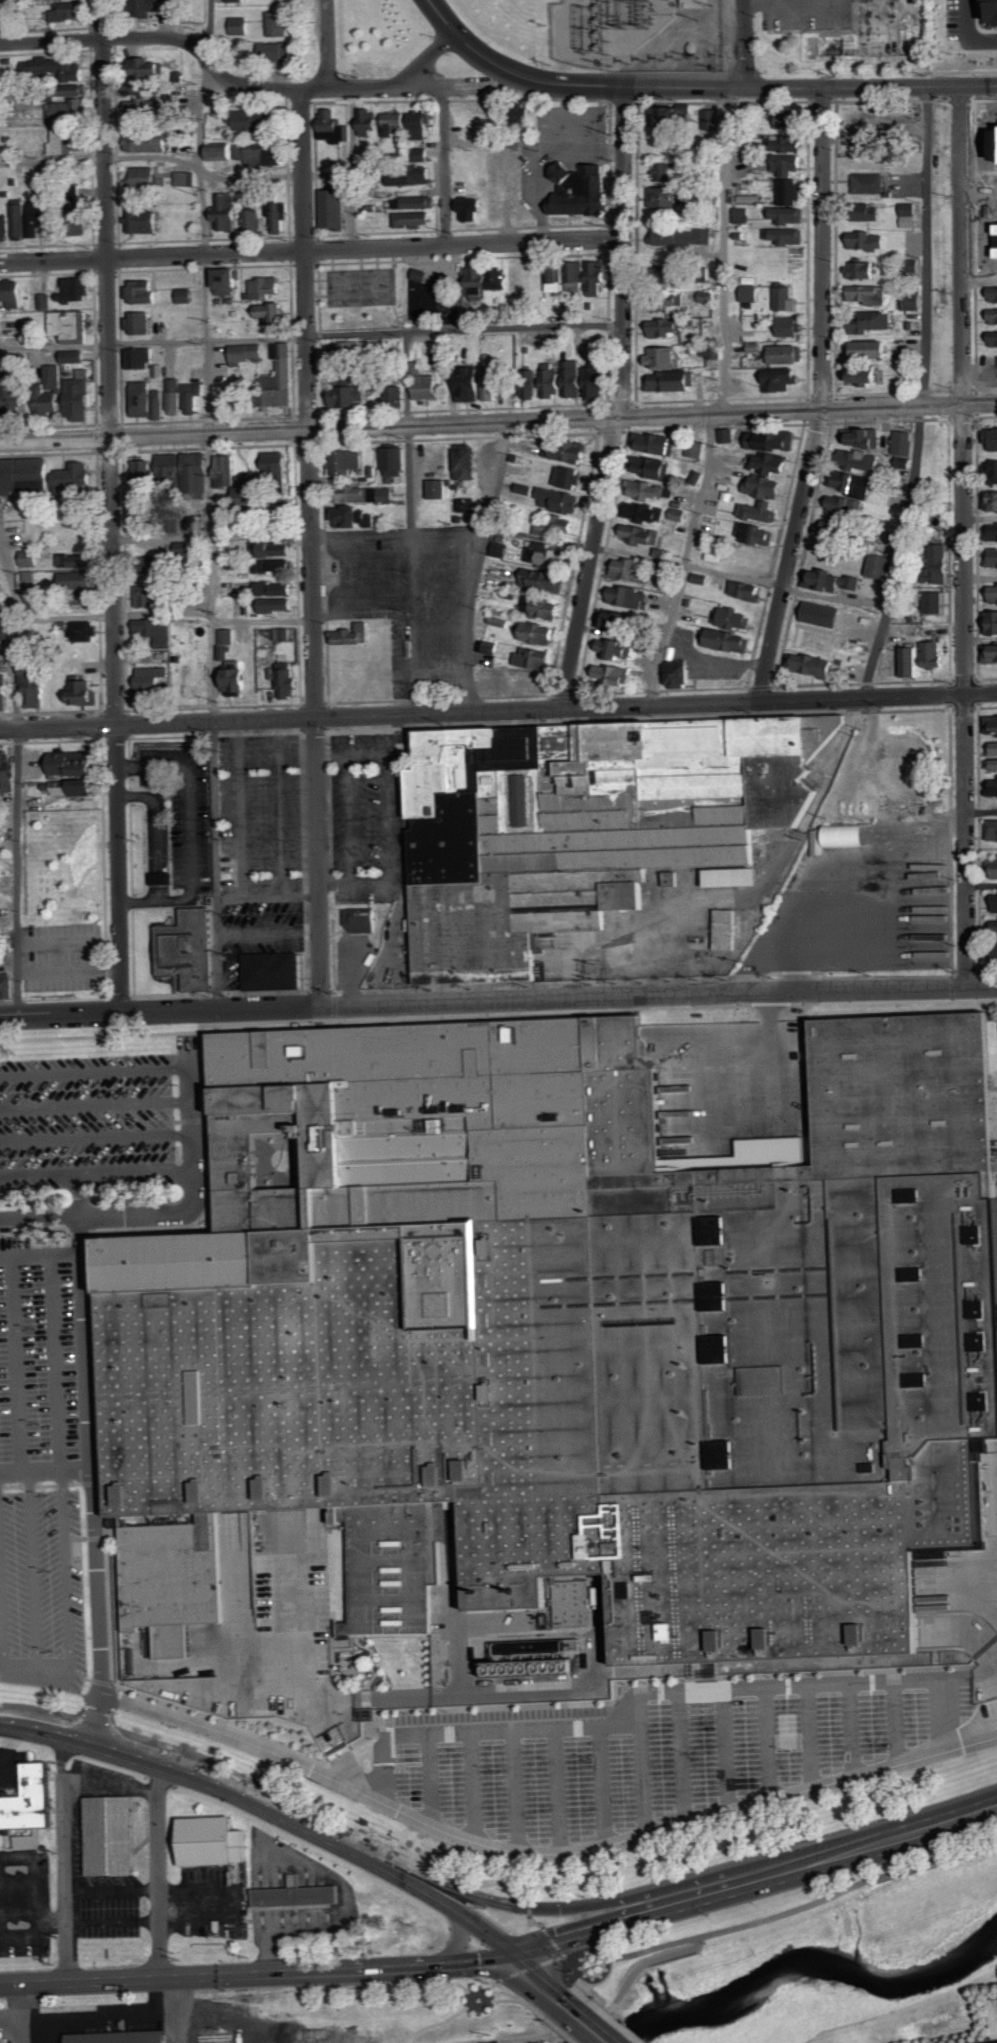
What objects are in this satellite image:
building: (236, 0)
building: (698, 3)
building: (153, 6)
building: (70, 11)
building: (988, 11)
building: (279, 23)
building: (240, 26)
building: (863, 32)
road: (969, 32)
power substation: (640, 34)
road: (467, 43)
road: (746, 44)
road: (328, 45)
building: (276, 51)
road: (430, 57)
building: (57, 68)
building: (150, 68)
road: (218, 71)
road: (471, 86)
road: (755, 88)
building: (72, 93)
building: (146, 101)
building: (66, 111)
building: (667, 115)
building: (254, 119)
building: (711, 119)
building: (790, 119)
building: (739, 121)
building: (370, 123)
building: (409, 123)
building: (336, 126)
building: (62, 141)
building: (151, 141)
building: (793, 143)
building: (222, 153)
building: (263, 154)
building: (422, 155)
road: (179, 160)
building: (790, 164)
road: (445, 165)
road: (352, 169)
building: (666, 171)
building: (413, 175)
building: (144, 177)
building: (183, 179)
building: (870, 183)
building: (582, 190)
building: (791, 191)
building: (668, 198)
building: (416, 202)
building: (335, 205)
building: (473, 208)
building: (228, 211)
building: (872, 212)
building: (81, 215)
building: (790, 215)
building: (910, 215)
building: (279, 216)
building: (416, 217)
building: (255, 219)
building: (34, 220)
building: (144, 220)
building: (6, 228)
building: (788, 235)
building: (682, 236)
building: (867, 240)
road: (927, 247)
road: (312, 251)
building: (864, 269)
building: (418, 273)
building: (577, 276)
building: (598, 277)
building: (557, 278)
building: (488, 280)
road: (980, 280)
building: (230, 281)
park: (359, 285)
building: (267, 287)
building: (77, 289)
park: (387, 291)
building: (15, 292)
building: (144, 292)
building: (994, 293)
building: (869, 294)
building: (187, 295)
building: (709, 295)
building: (787, 299)
building: (914, 300)
building: (45, 301)
building: (658, 303)
building: (273, 312)
building: (994, 316)
building: (871, 321)
building: (140, 323)
building: (72, 326)
building: (665, 327)
building: (792, 327)
road: (311, 335)
building: (993, 338)
building: (873, 349)
building: (348, 350)
building: (248, 353)
building: (786, 354)
building: (76, 356)
building: (666, 357)
building: (141, 358)
building: (867, 375)
building: (284, 378)
building: (344, 379)
building: (576, 380)
building: (783, 380)
building: (673, 381)
building: (482, 382)
building: (426, 383)
building: (530, 389)
building: (53, 392)
building: (399, 394)
building: (17, 396)
building: (186, 397)
building: (350, 397)
road: (822, 398)
building: (81, 399)
road: (622, 400)
building: (149, 401)
road: (720, 401)
road: (498, 423)
building: (726, 436)
building: (862, 437)
building: (993, 437)
building: (771, 440)
building: (656, 443)
building: (905, 443)
building: (568, 450)
building: (696, 450)
building: (862, 460)
building: (348, 462)
building: (397, 462)
building: (770, 463)
building: (467, 464)
building: (277, 466)
building: (657, 468)
building: (188, 469)
building: (228, 471)
building: (25, 475)
building: (569, 477)
building: (77, 478)
building: (143, 478)
building: (854, 484)
building: (765, 487)
building: (439, 489)
building: (654, 490)
building: (362, 494)
building: (387, 495)
building: (994, 499)
building: (560, 500)
road: (210, 503)
building: (469, 504)
road: (112, 505)
building: (843, 505)
building: (760, 511)
building: (644, 512)
building: (678, 515)
road: (980, 516)
building: (354, 518)
building: (143, 522)
building: (198, 523)
road: (408, 523)
building: (560, 526)
road: (504, 529)
building: (836, 529)
building: (995, 532)
building: (643, 534)
building: (757, 534)
road: (964, 537)
road: (311, 548)
building: (502, 549)
road: (900, 554)
building: (275, 555)
building: (551, 557)
building: (29, 558)
building: (993, 558)
building: (175, 559)
building: (77, 561)
building: (881, 566)
road: (477, 567)
building: (941, 567)
building: (633, 569)
road: (981, 577)
building: (545, 580)
building: (79, 581)
building: (833, 581)
building: (277, 588)
building: (746, 590)
building: (994, 593)
building: (156, 594)
building: (627, 596)
building: (935, 603)
building: (279, 605)
building: (545, 607)
road: (157, 613)
building: (825, 614)
building: (734, 618)
building: (618, 621)
building: (993, 623)
building: (85, 631)
road: (922, 631)
building: (157, 632)
building: (538, 633)
building: (353, 635)
building: (729, 640)
building: (227, 643)
building: (616, 649)
building: (991, 652)
building: (933, 655)
building: (536, 658)
building: (910, 662)
building: (813, 665)
building: (680, 673)
building: (614, 674)
building: (242, 680)
building: (528, 680)
building: (153, 682)
building: (289, 684)
building: (36, 688)
building: (5, 692)
building: (89, 693)
road: (498, 712)
building: (994, 726)
building: (993, 749)
building: (73, 764)
building: (993, 764)
building: (10, 771)
road: (16, 782)
building: (77, 787)
building: (992, 787)
road: (190, 801)
parking lot: (367, 803)
parking lot: (183, 808)
road: (280, 809)
road: (240, 810)
road: (981, 811)
parking lot: (260, 814)
road: (349, 819)
road: (389, 819)
building: (583, 824)
building: (993, 830)
road: (158, 831)
building: (839, 837)
road: (7, 846)
building: (994, 869)
building: (160, 879)
road: (981, 883)
road: (744, 893)
road: (219, 899)
building: (994, 903)
parking lot: (868, 906)
building: (359, 920)
building: (726, 929)
road: (268, 933)
road: (59, 941)
building: (187, 948)
parking lot: (61, 955)
parking lot: (351, 961)
road: (68, 967)
building: (270, 970)
road: (353, 971)
road: (498, 1002)
road: (393, 1016)
road: (100, 1035)
building: (798, 1055)
road: (770, 1056)
road: (96, 1070)
road: (97, 1102)
parking lot: (91, 1122)
road: (98, 1136)
building: (774, 1148)
road: (99, 1170)
road: (196, 1192)
road: (81, 1195)
road: (42, 1254)
building: (568, 1339)
road: (56, 1361)
road: (17, 1362)
parking lot: (42, 1467)
road: (47, 1468)
road: (33, 1574)
road: (66, 1575)
road: (2, 1624)
road: (303, 1660)
road: (54, 1680)
road: (944, 1709)
road: (638, 1711)
road: (897, 1717)
road: (98, 1720)
road: (850, 1724)
road: (34, 1731)
road: (810, 1731)
road: (767, 1738)
road: (725, 1746)
road: (9, 1750)
road: (284, 1753)
road: (682, 1753)
parking lot: (657, 1756)
parking lot: (10, 1765)
road: (182, 1773)
road: (641, 1776)
road: (430, 1778)
road: (473, 1783)
road: (601, 1783)
road: (110, 1784)
road: (514, 1787)
road: (557, 1788)
building: (28, 1800)
road: (315, 1812)
building: (108, 1835)
building: (209, 1841)
road: (65, 1860)
road: (158, 1872)
road: (408, 1883)
road: (755, 1883)
road: (34, 1887)
road: (194, 1887)
building: (294, 1895)
road: (345, 1902)
road: (553, 1907)
road: (784, 1914)
road: (113, 1921)
road: (24, 1935)
traffic signals: (516, 1961)
river: (803, 1962)
road: (523, 1971)
road: (258, 1975)
road: (541, 1981)
road: (436, 1984)
road: (579, 1987)
road: (480, 1993)
road: (23, 2001)
road: (608, 2008)
road: (102, 2014)
road: (450, 2019)
road: (617, 2020)
road: (590, 2023)
road: (25, 2030)
building: (119, 2036)
parking lot: (988, 2041)

